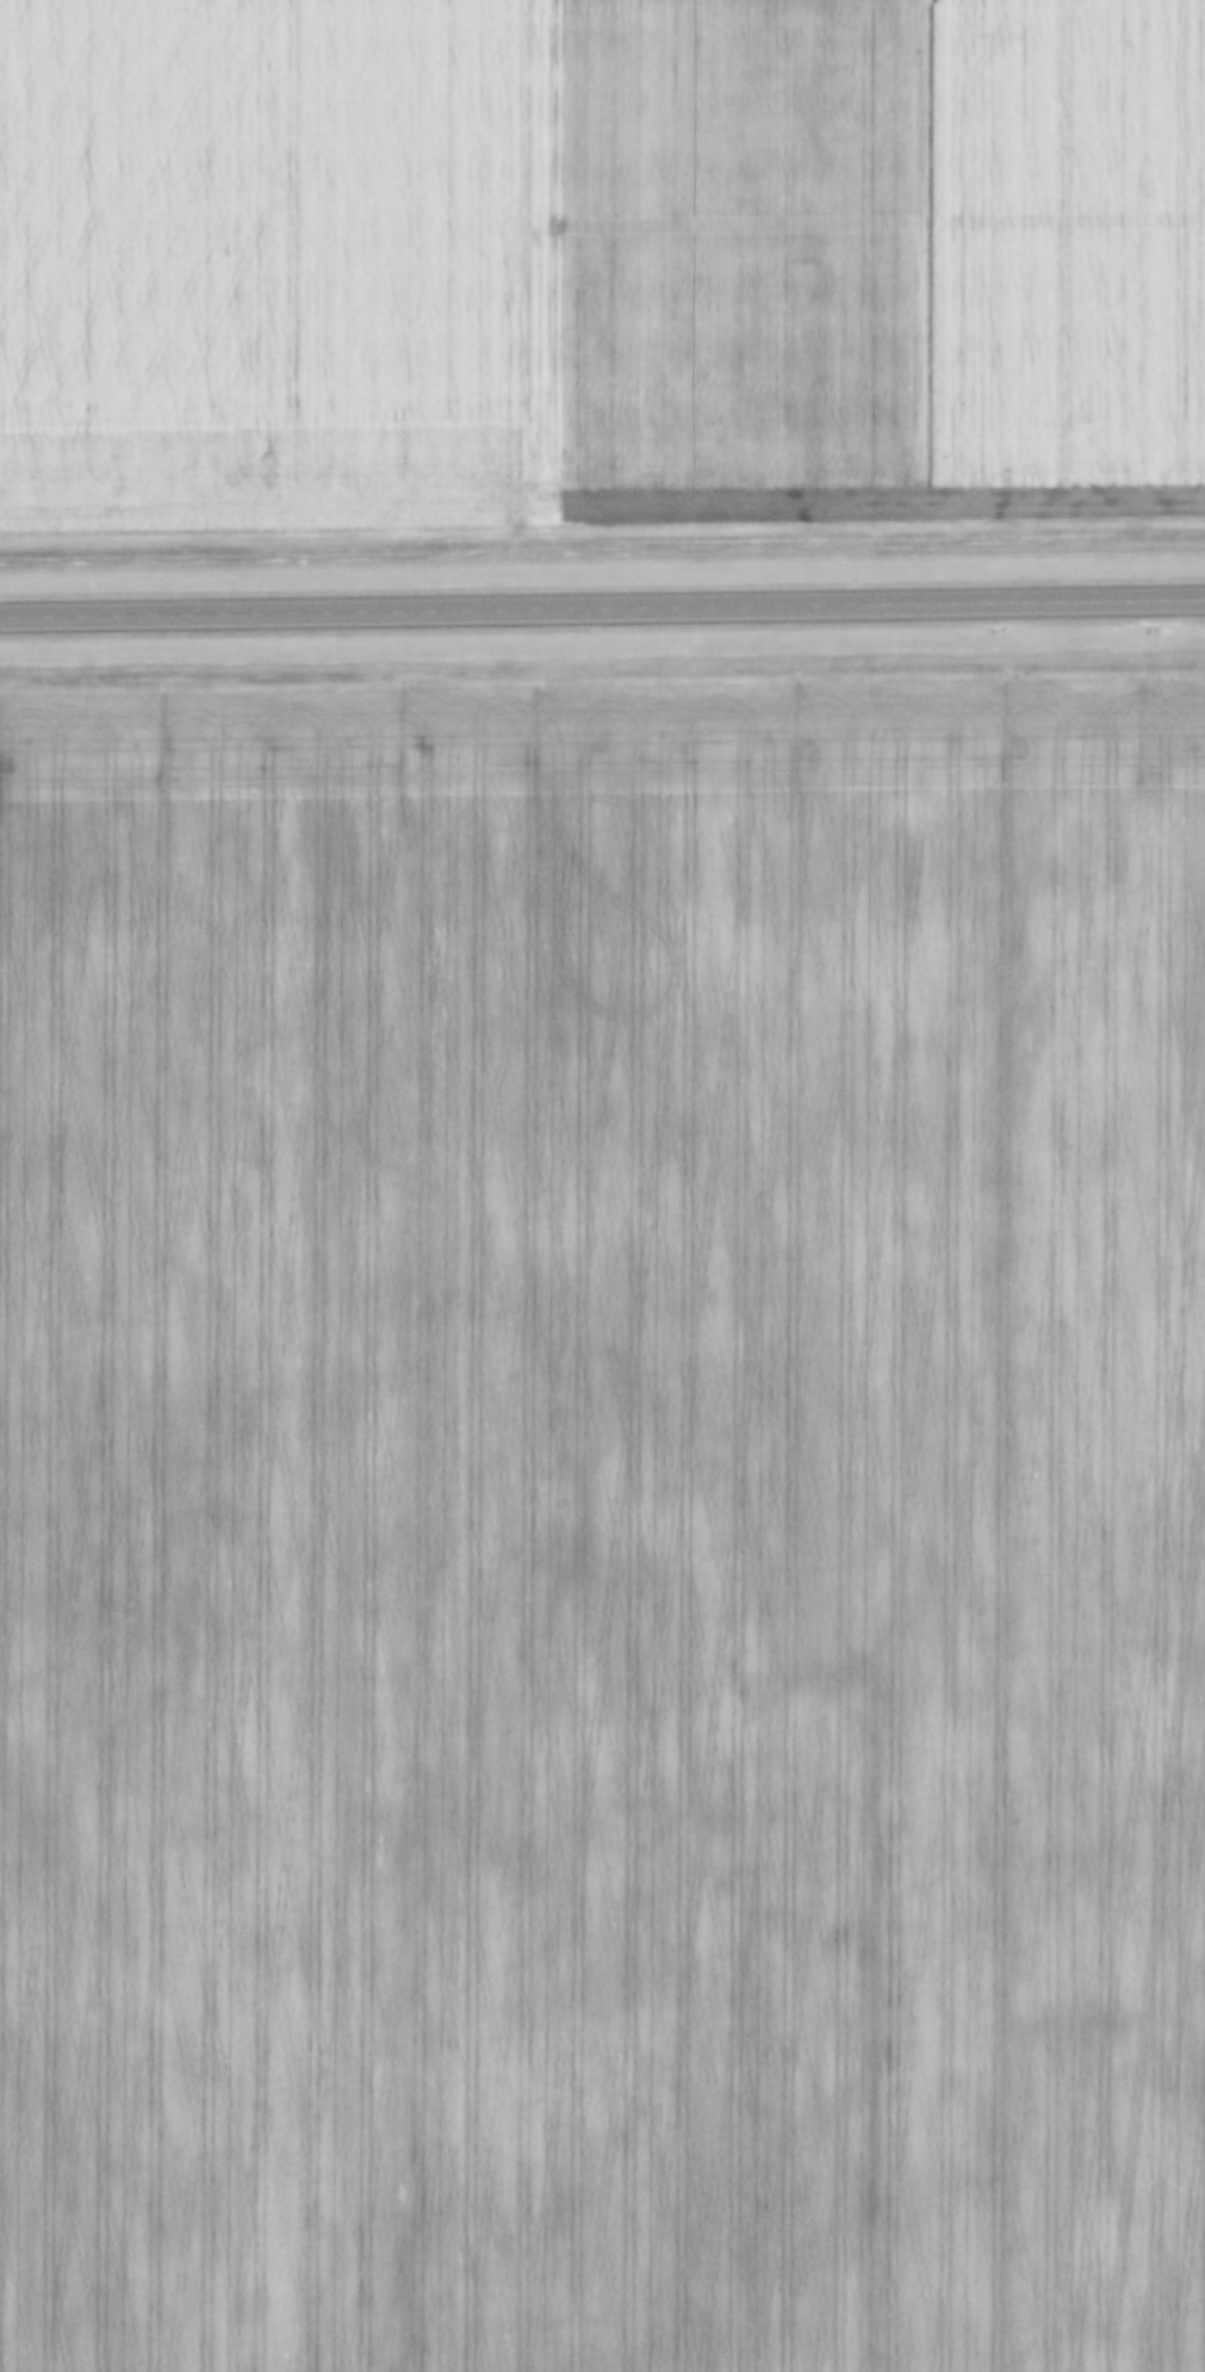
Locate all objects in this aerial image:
road: (602, 620)

